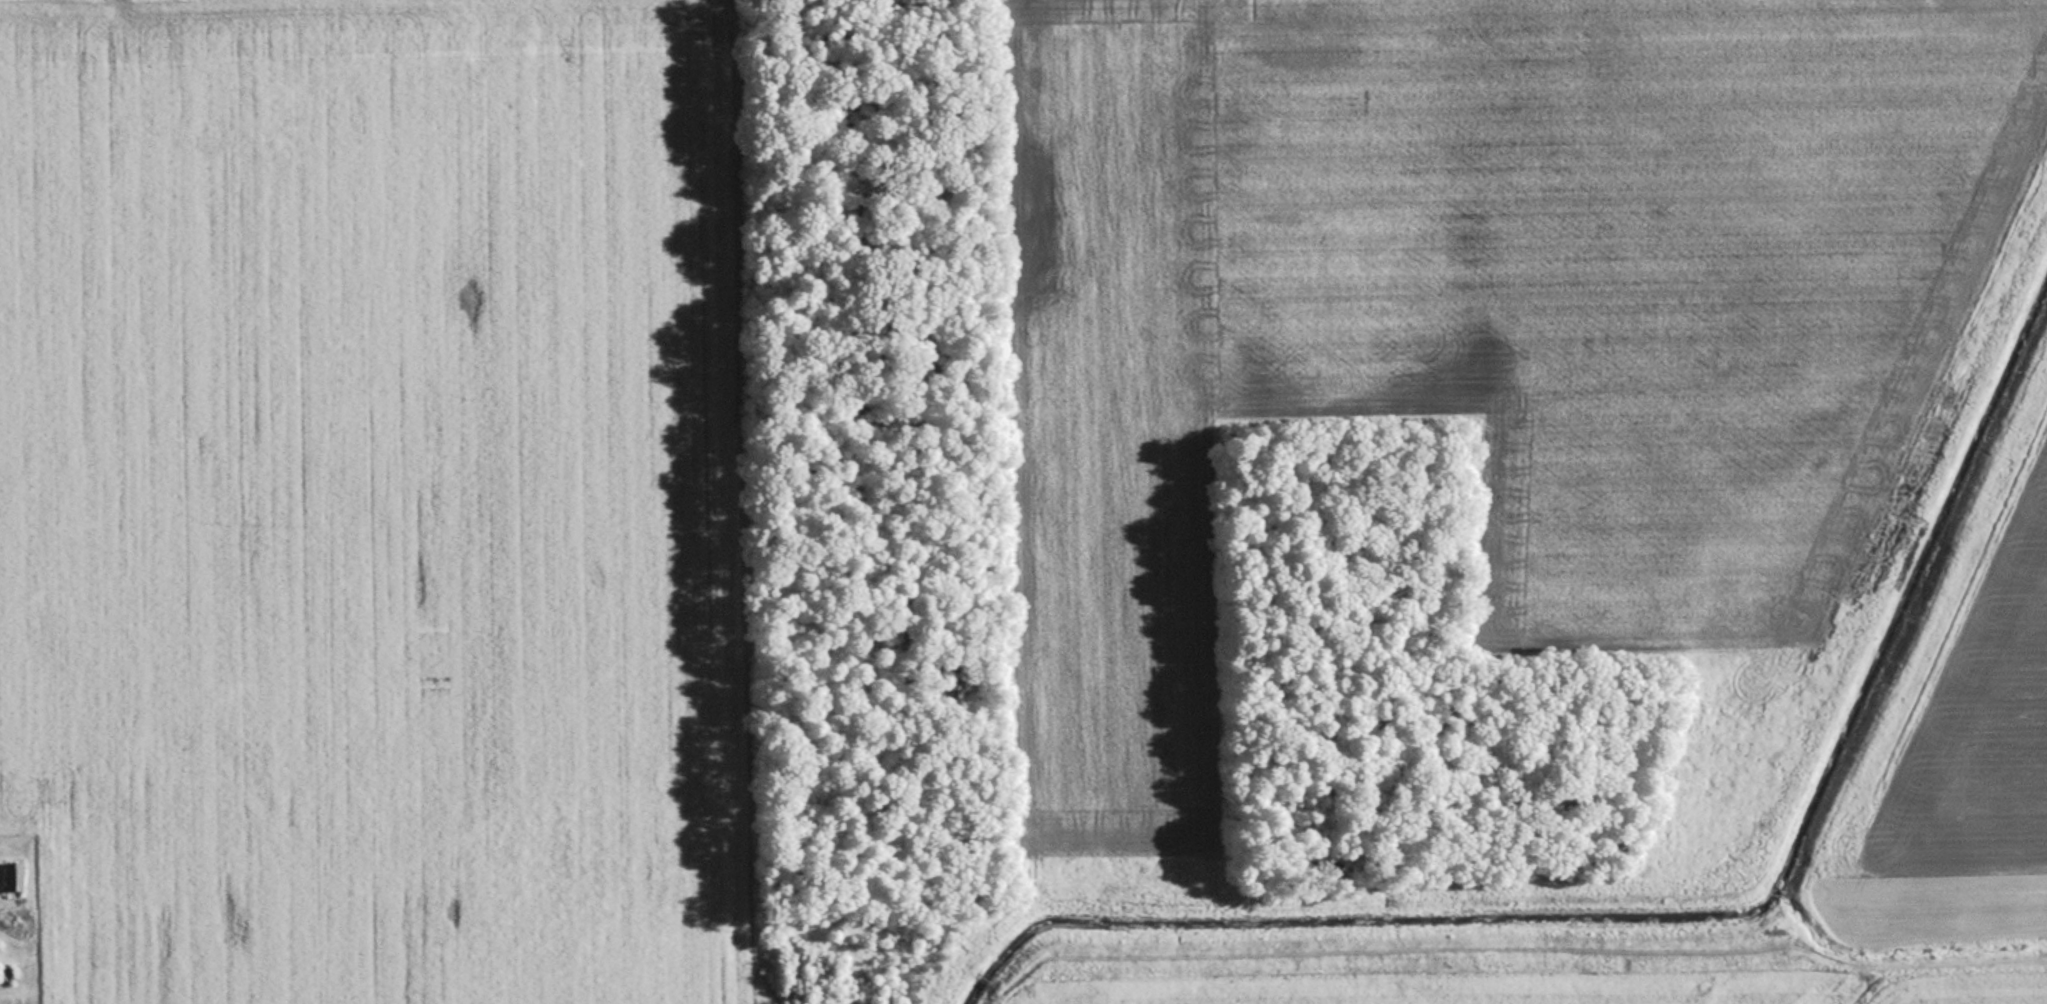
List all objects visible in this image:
building: (12, 876)

